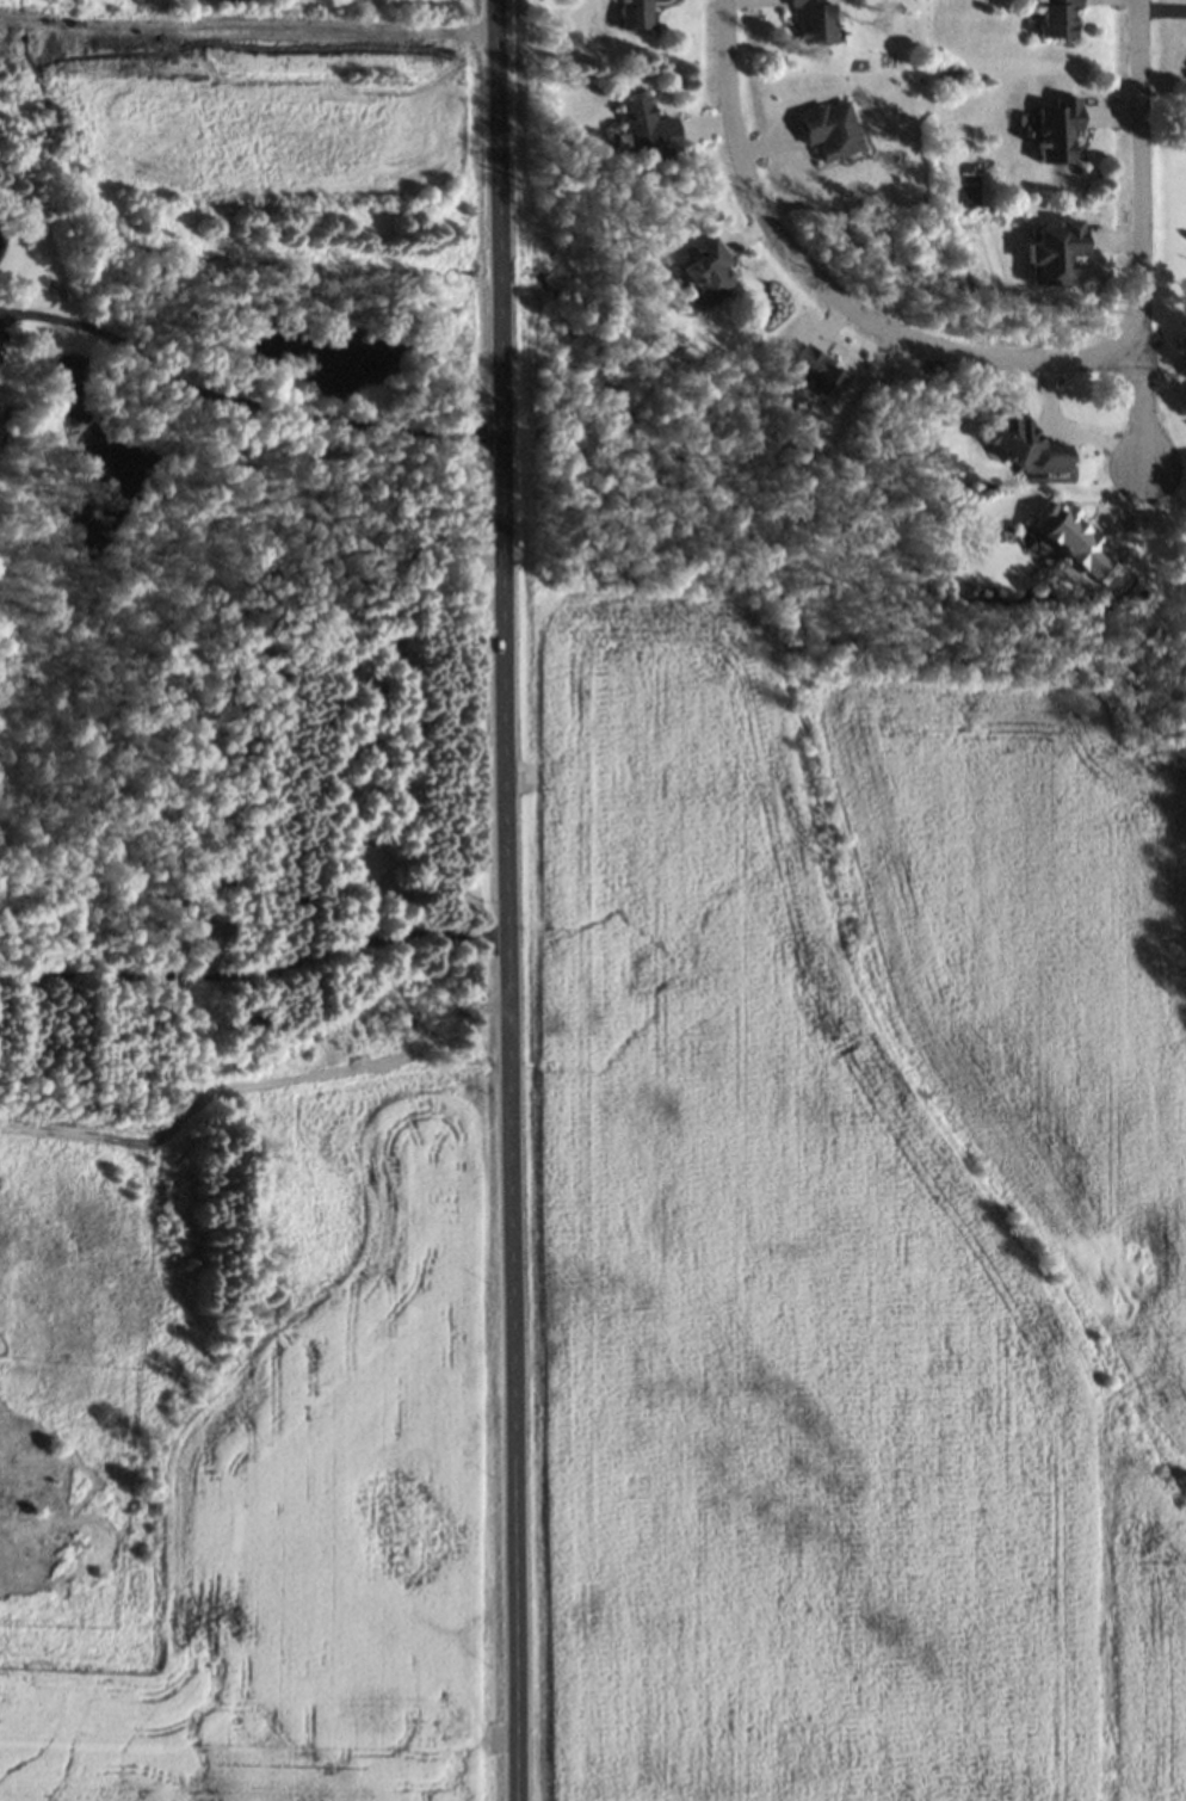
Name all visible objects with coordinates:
building: (635, 14)
building: (1055, 17)
building: (814, 21)
building: (648, 127)
building: (830, 129)
building: (1057, 129)
road: (1142, 138)
building: (1054, 252)
building: (709, 275)
road: (853, 308)
road: (1144, 372)
building: (819, 374)
road: (242, 402)
building: (1021, 444)
building: (1074, 542)
road: (509, 900)
road: (257, 966)
crop: (321, 1511)

